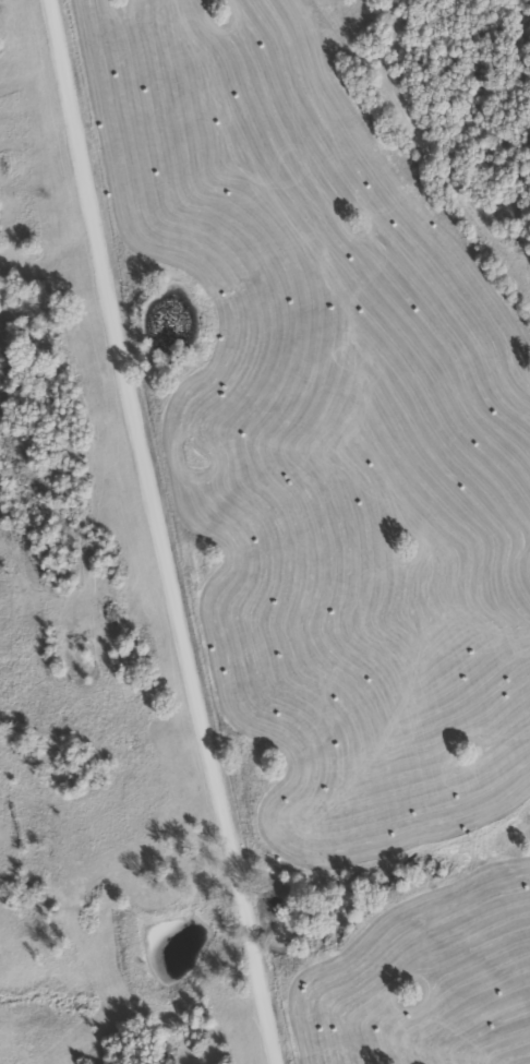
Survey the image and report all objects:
road: (146, 529)

